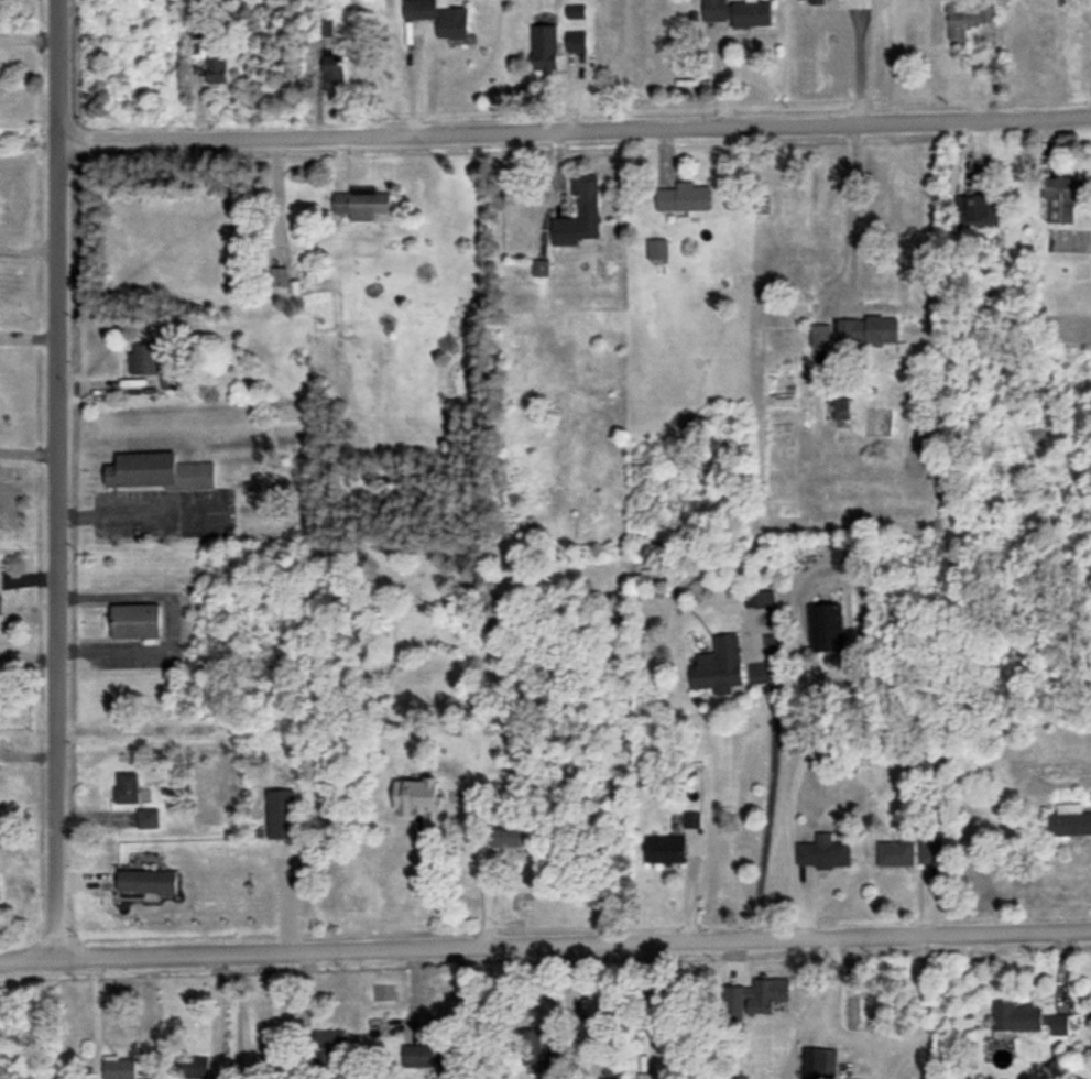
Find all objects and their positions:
building: (574, 11)
building: (738, 12)
building: (439, 15)
building: (967, 19)
building: (575, 41)
building: (544, 47)
road: (855, 62)
building: (215, 67)
building: (332, 70)
road: (575, 127)
building: (1061, 196)
building: (684, 197)
building: (361, 203)
road: (852, 203)
building: (979, 210)
building: (579, 212)
building: (656, 248)
road: (29, 249)
building: (541, 266)
building: (869, 329)
building: (820, 335)
building: (144, 359)
building: (171, 380)
building: (841, 408)
road: (29, 453)
building: (160, 471)
road: (56, 478)
building: (759, 598)
building: (0, 603)
building: (137, 620)
building: (826, 626)
building: (719, 666)
building: (127, 786)
road: (772, 787)
building: (419, 799)
building: (282, 814)
building: (148, 817)
building: (691, 819)
building: (1069, 820)
building: (506, 838)
building: (666, 850)
building: (929, 850)
building: (825, 852)
building: (896, 852)
road: (481, 875)
building: (146, 881)
road: (545, 941)
building: (759, 995)
road: (217, 1011)
road: (96, 1016)
building: (1016, 1016)
building: (1057, 1023)
building: (329, 1045)
building: (543, 1047)
building: (426, 1055)
building: (819, 1064)
building: (194, 1066)
building: (119, 1067)
building: (647, 1076)

